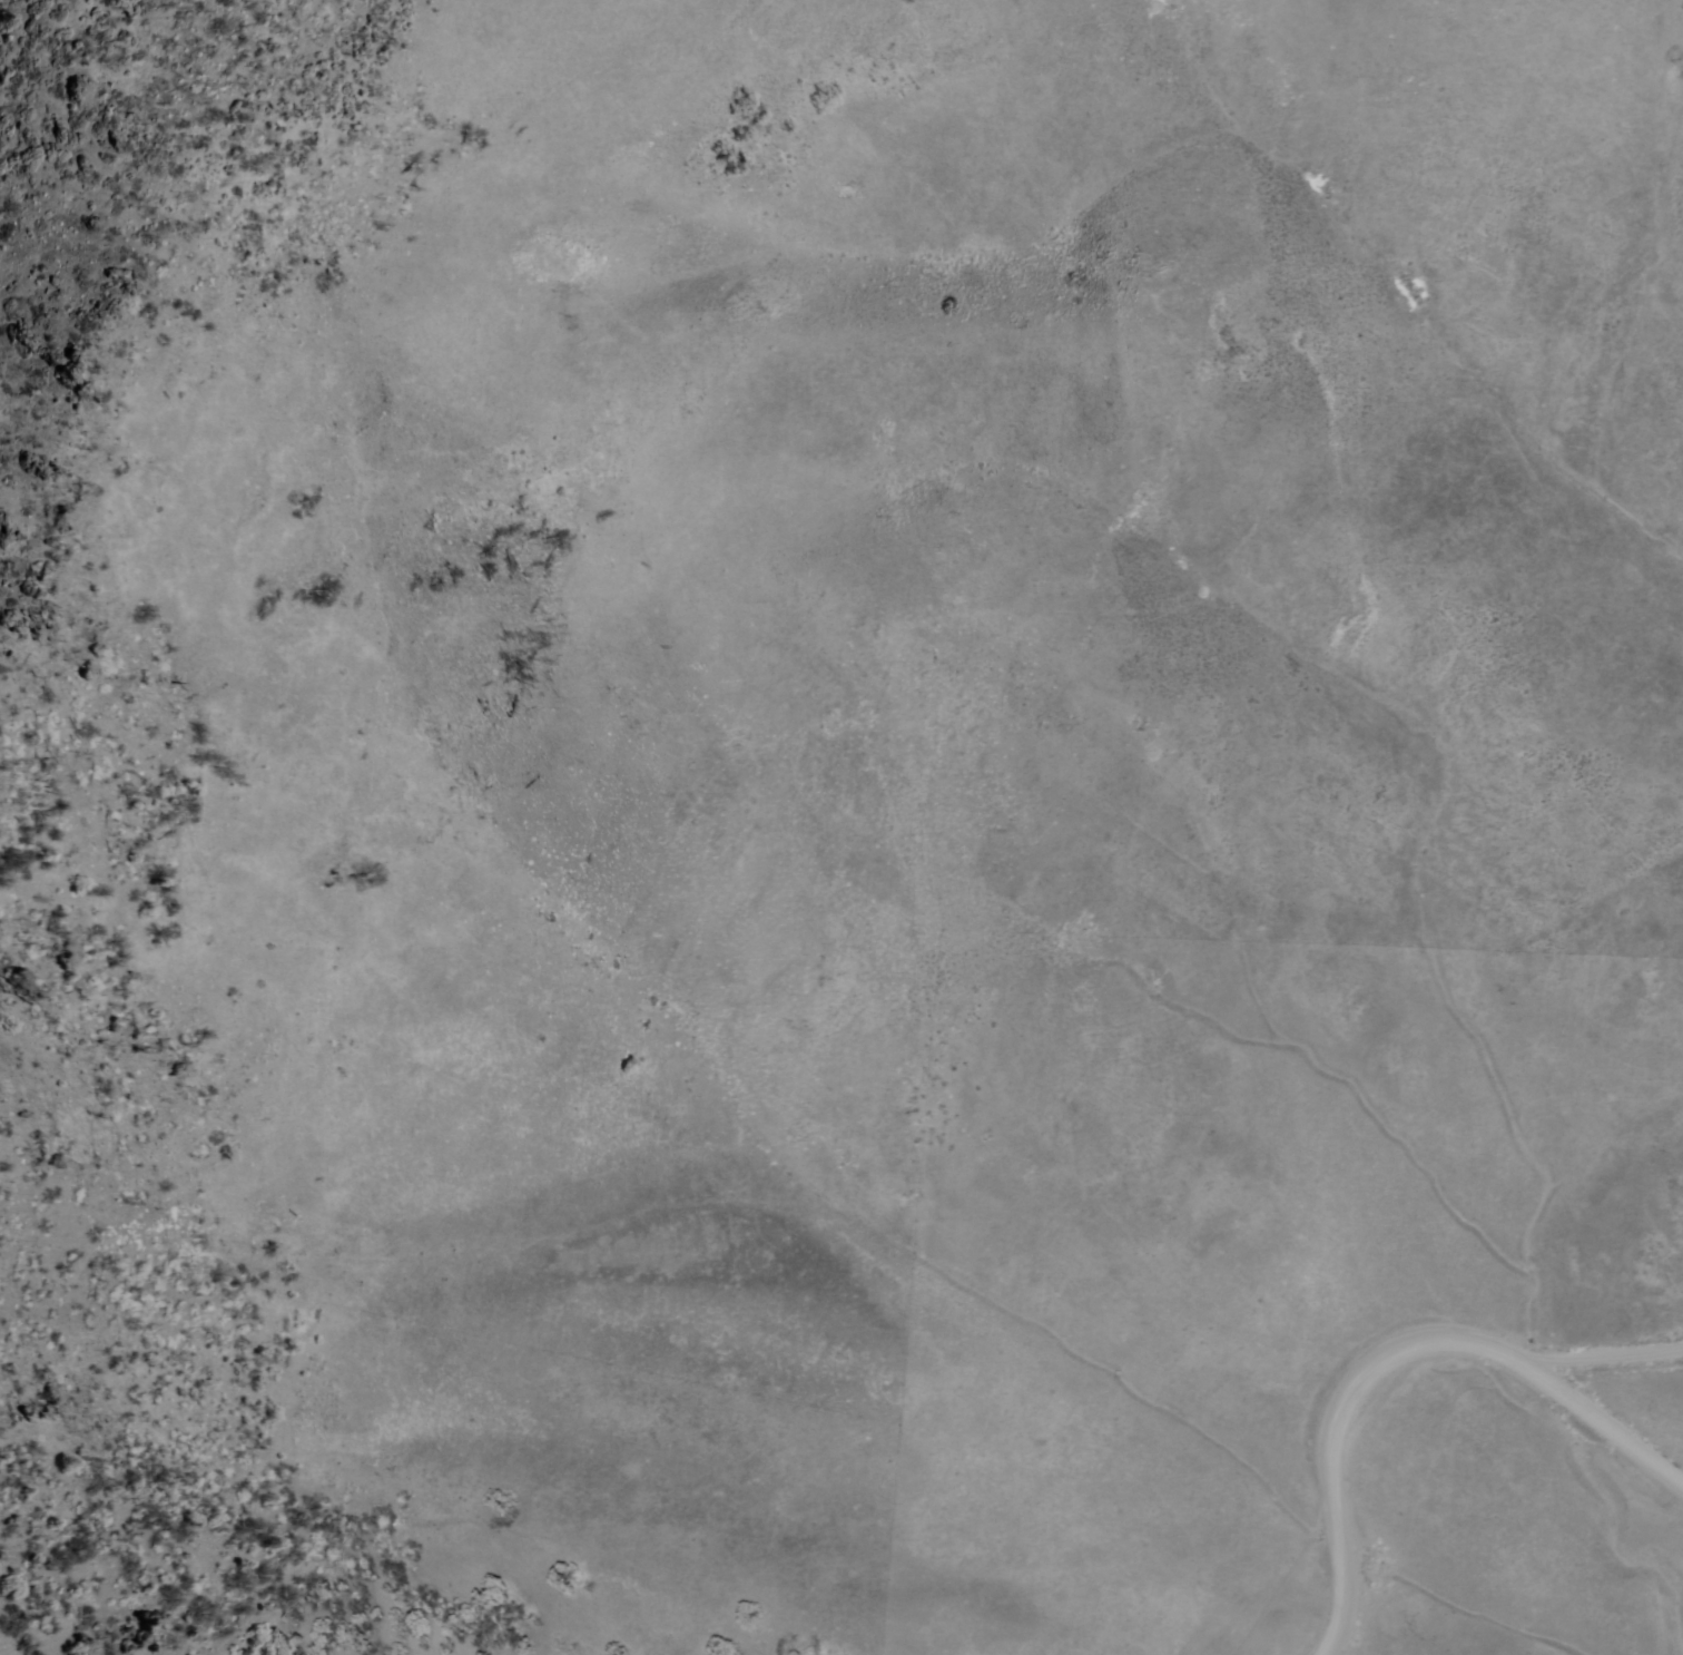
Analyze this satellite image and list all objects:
road: (1489, 1359)

